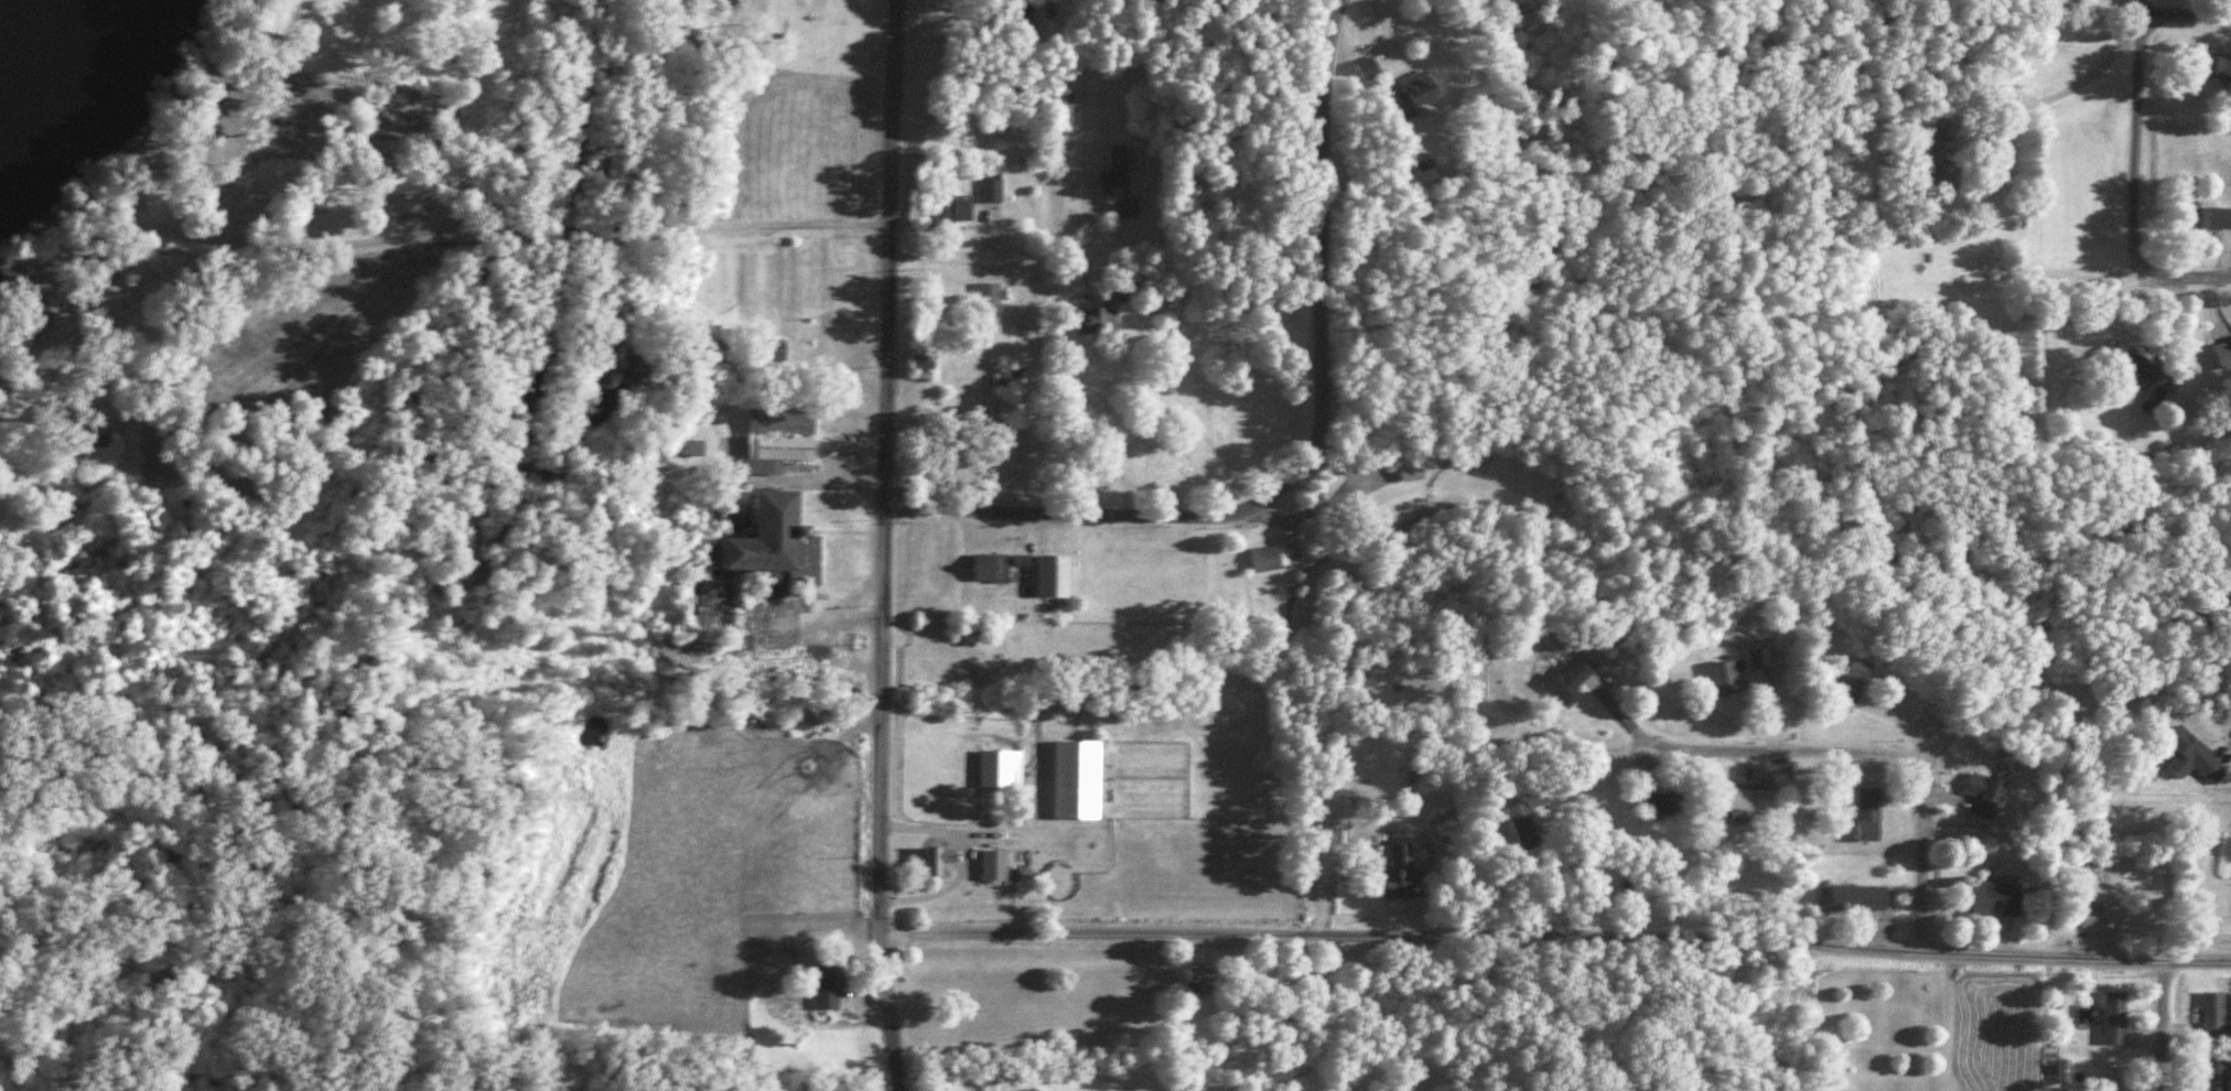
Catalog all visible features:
road: (2184, 11)
building: (1026, 15)
building: (1365, 66)
building: (2218, 66)
road: (2065, 68)
building: (1411, 94)
building: (1058, 110)
road: (2135, 129)
building: (1937, 158)
building: (1114, 169)
building: (991, 190)
building: (129, 202)
building: (950, 206)
building: (1124, 208)
building: (2210, 216)
road: (962, 255)
road: (1324, 258)
road: (2188, 264)
building: (989, 296)
building: (1106, 307)
building: (39, 323)
building: (2222, 353)
building: (924, 361)
building: (2136, 367)
building: (1007, 376)
road: (1035, 393)
building: (777, 439)
building: (687, 446)
road: (883, 465)
building: (1410, 468)
road: (1075, 510)
building: (764, 549)
building: (1268, 557)
building: (990, 566)
building: (1052, 575)
building: (969, 628)
building: (1758, 656)
building: (1723, 677)
building: (1571, 679)
building: (1851, 680)
road: (1791, 747)
road: (2229, 747)
building: (2191, 756)
building: (802, 765)
building: (1000, 768)
building: (1076, 779)
building: (1983, 793)
building: (1746, 801)
building: (1867, 812)
building: (1523, 815)
building: (938, 861)
road: (1919, 861)
building: (993, 865)
building: (1397, 872)
building: (1857, 897)
building: (1993, 898)
building: (2088, 915)
building: (2154, 919)
road: (1554, 935)
building: (1198, 981)
building: (824, 985)
road: (888, 1012)
building: (2213, 1013)
building: (2114, 1017)
road: (2168, 1024)
building: (2216, 1072)

